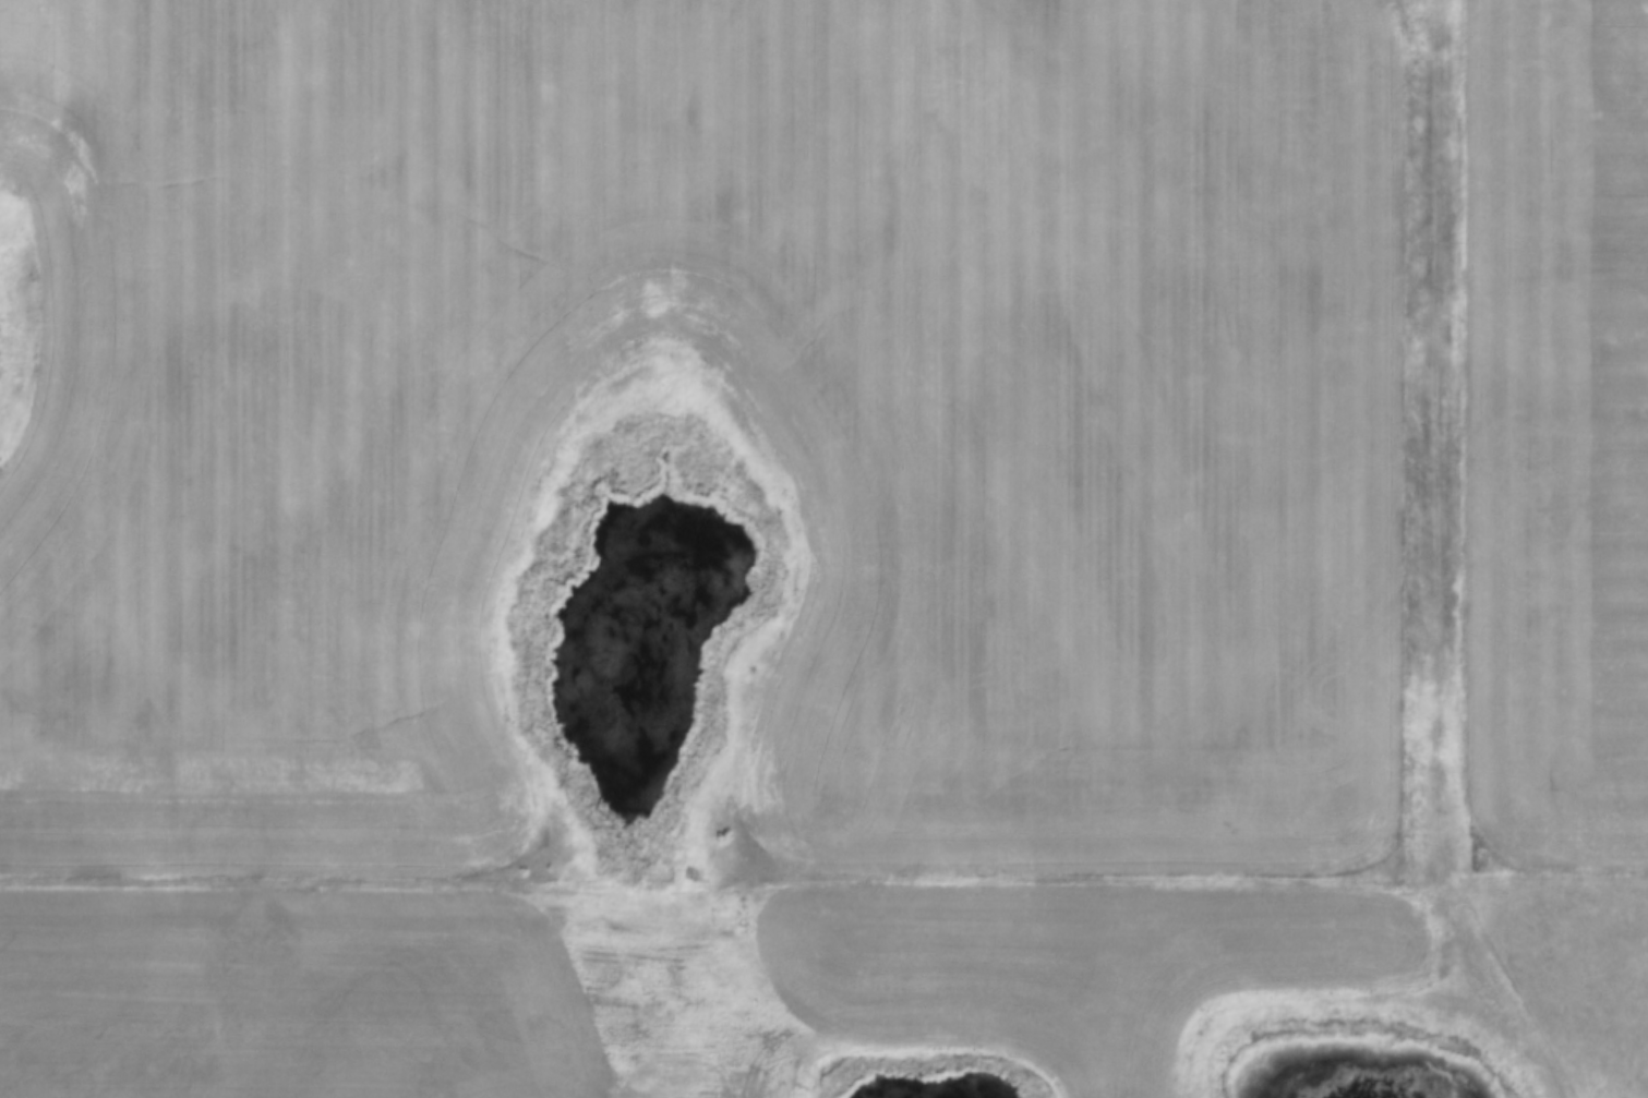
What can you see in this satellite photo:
road: (1428, 447)
road: (712, 886)
road: (1496, 990)

